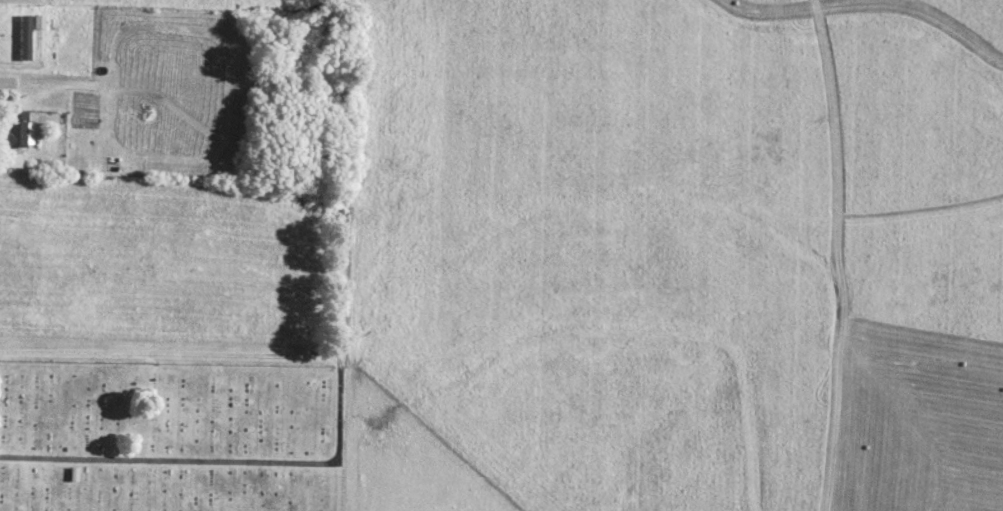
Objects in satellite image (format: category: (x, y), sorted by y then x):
building: (25, 37)
building: (17, 129)
park: (175, 342)
road: (172, 354)
road: (345, 357)
road: (172, 462)

